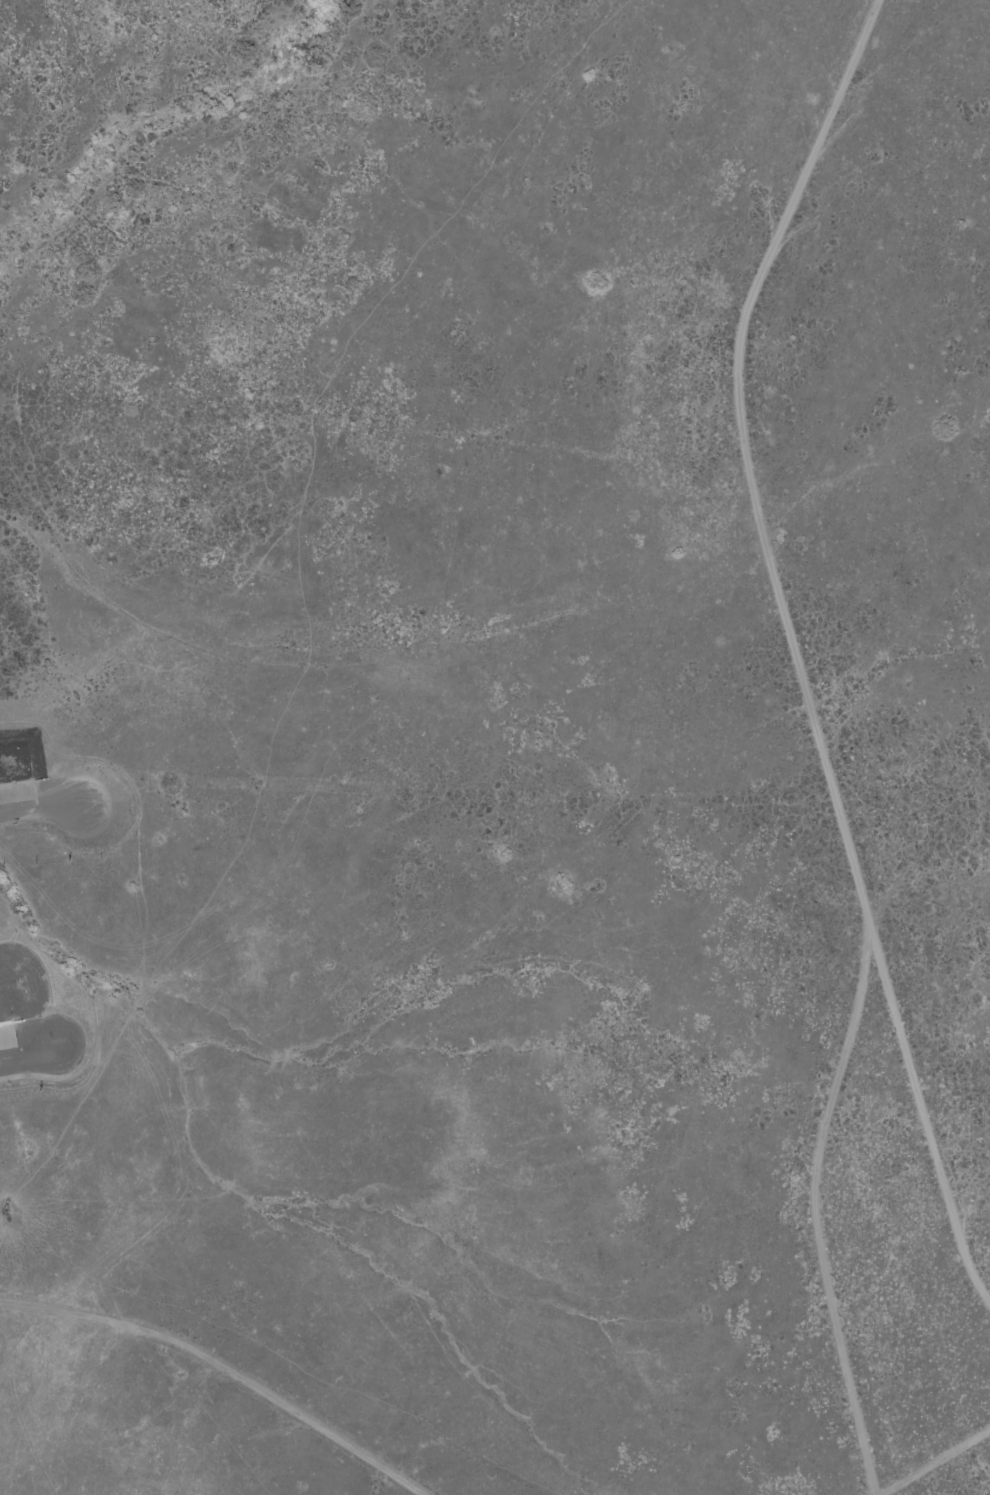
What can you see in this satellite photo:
road: (43, 811)
road: (29, 1060)

